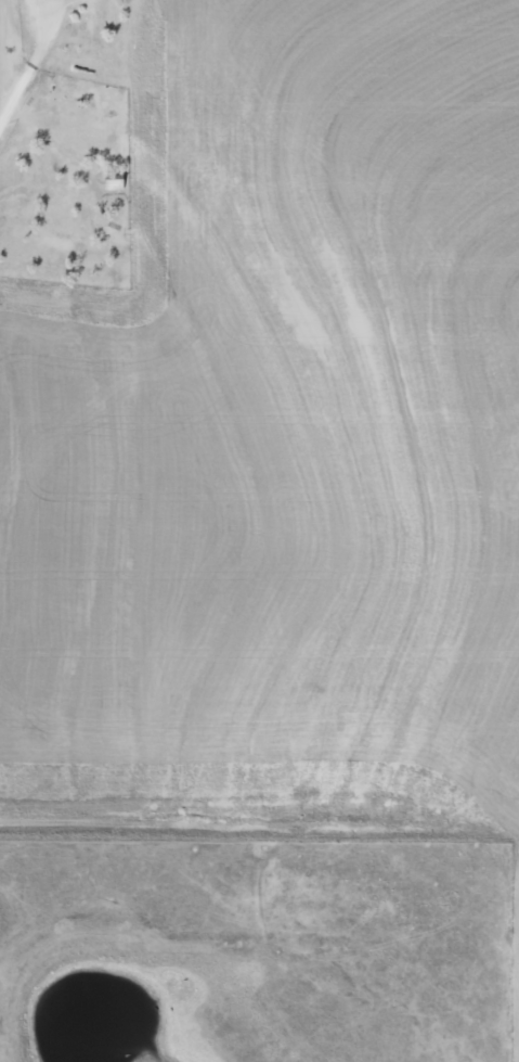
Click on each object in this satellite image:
road: (23, 41)

